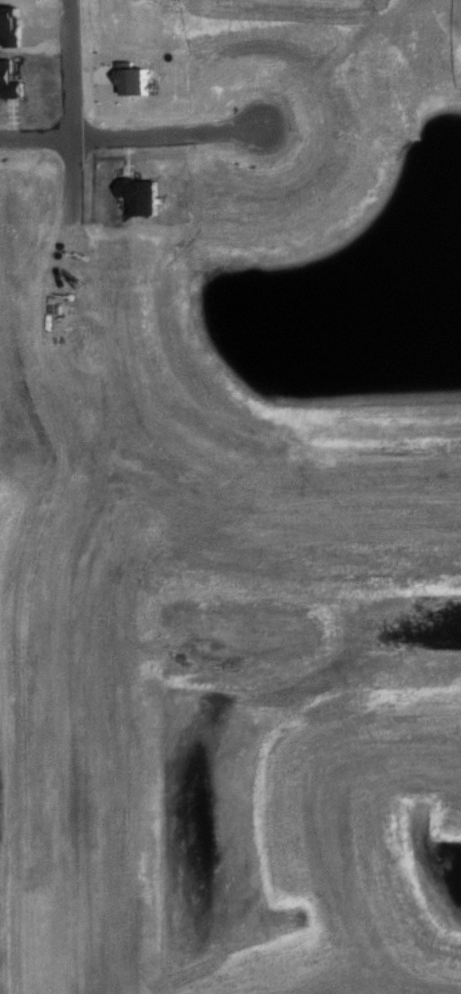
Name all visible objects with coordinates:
building: (9, 26)
building: (129, 78)
building: (7, 81)
road: (61, 105)
road: (128, 144)
building: (138, 196)

